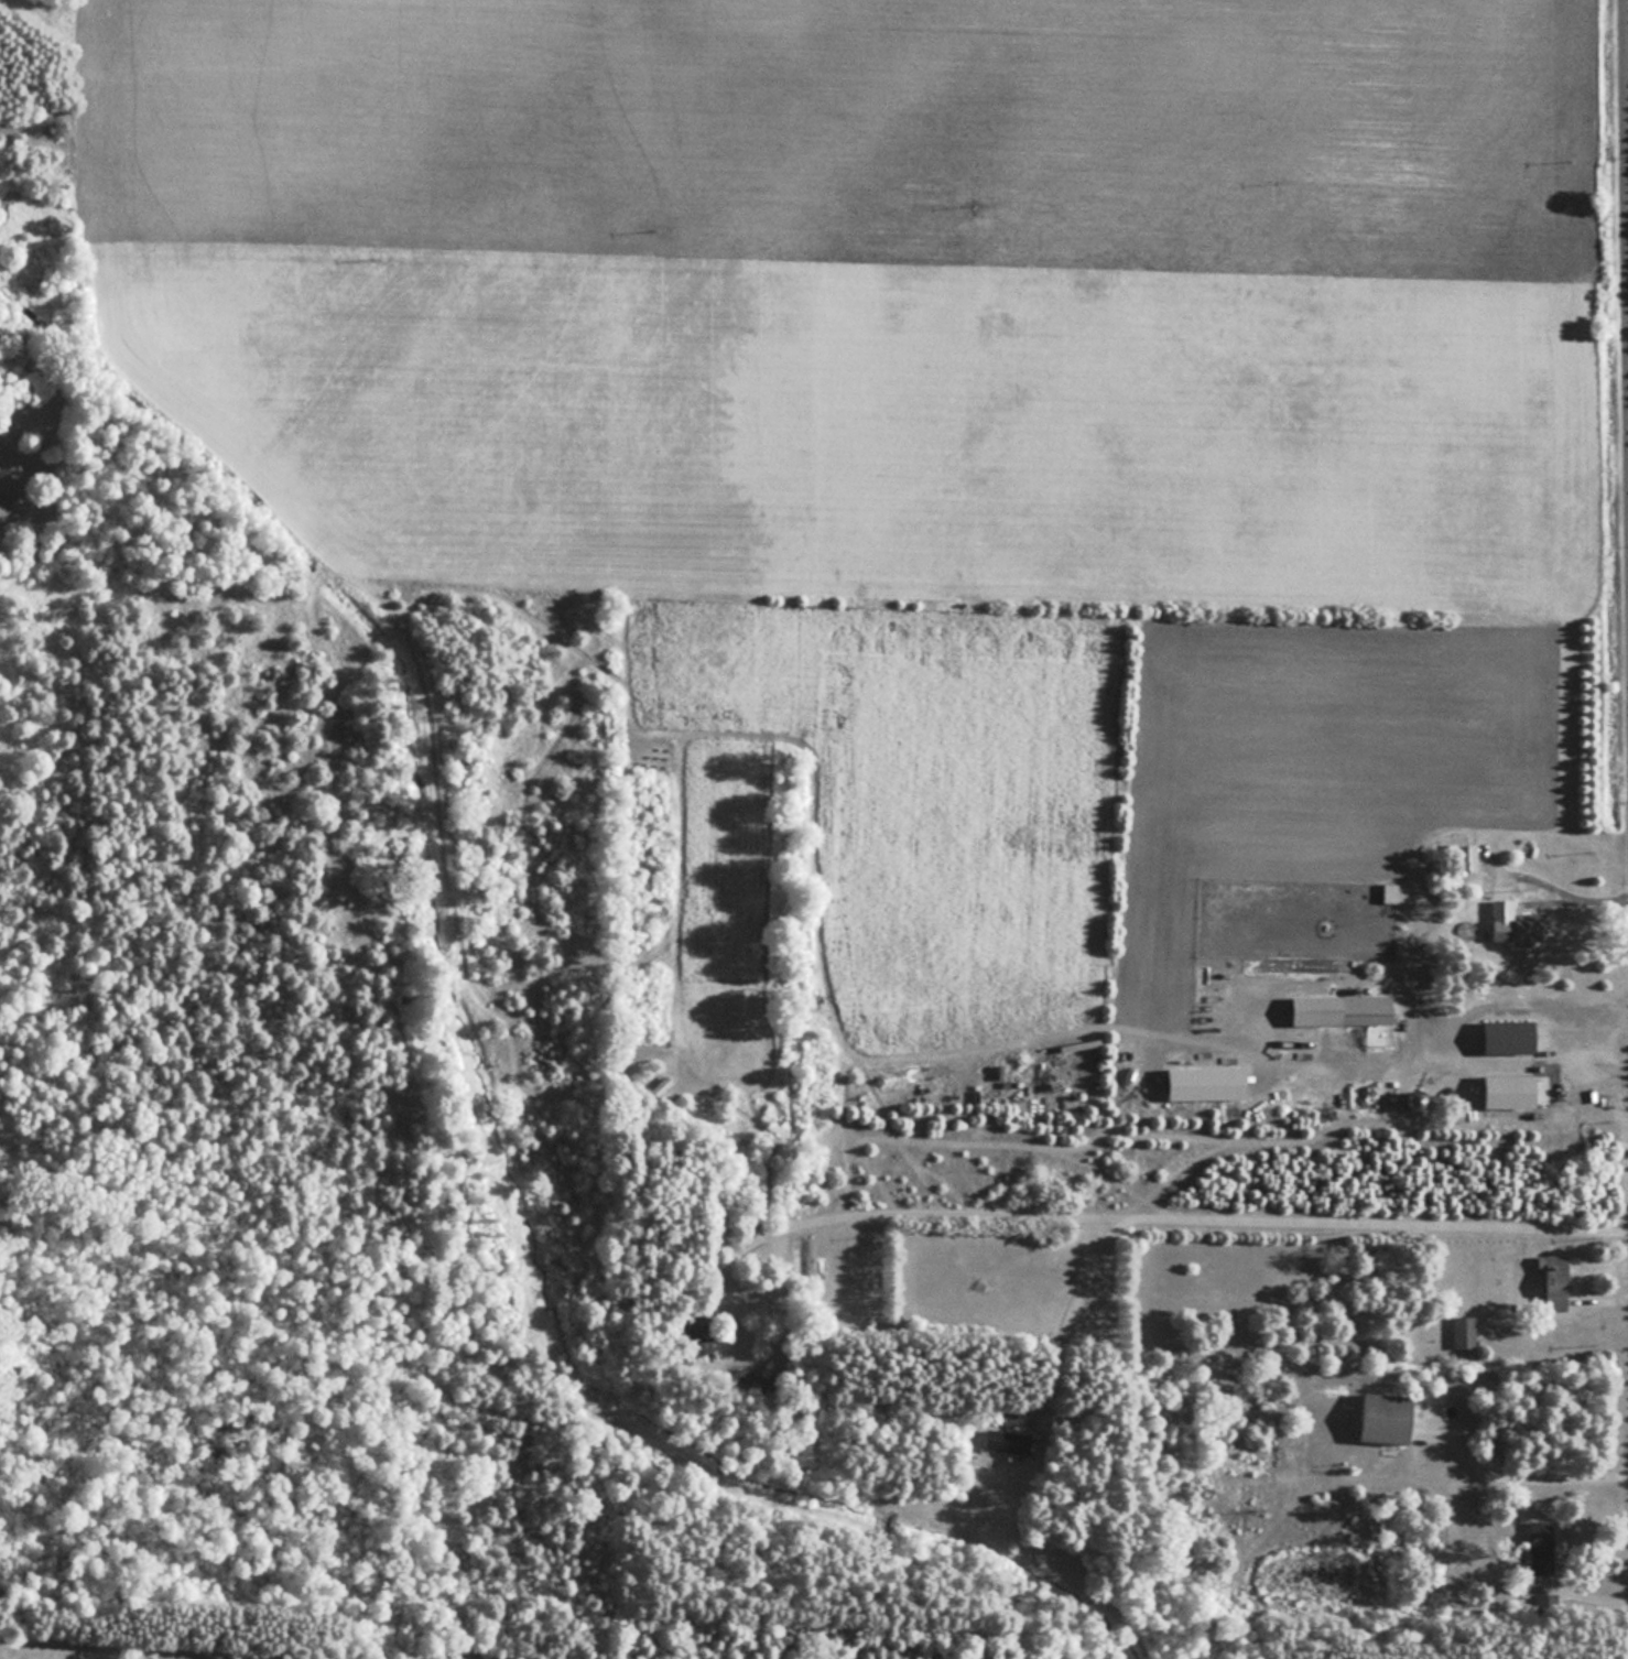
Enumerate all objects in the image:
road: (1626, 130)
building: (1469, 857)
road: (1496, 887)
building: (1391, 891)
road: (1600, 898)
building: (1521, 925)
building: (1345, 1009)
building: (1513, 1037)
road: (1495, 1061)
road: (898, 1199)
road: (1267, 1206)
building: (1559, 1280)
building: (1466, 1331)
building: (1389, 1417)
building: (1009, 1440)
road: (1515, 1472)
building: (1541, 1546)

